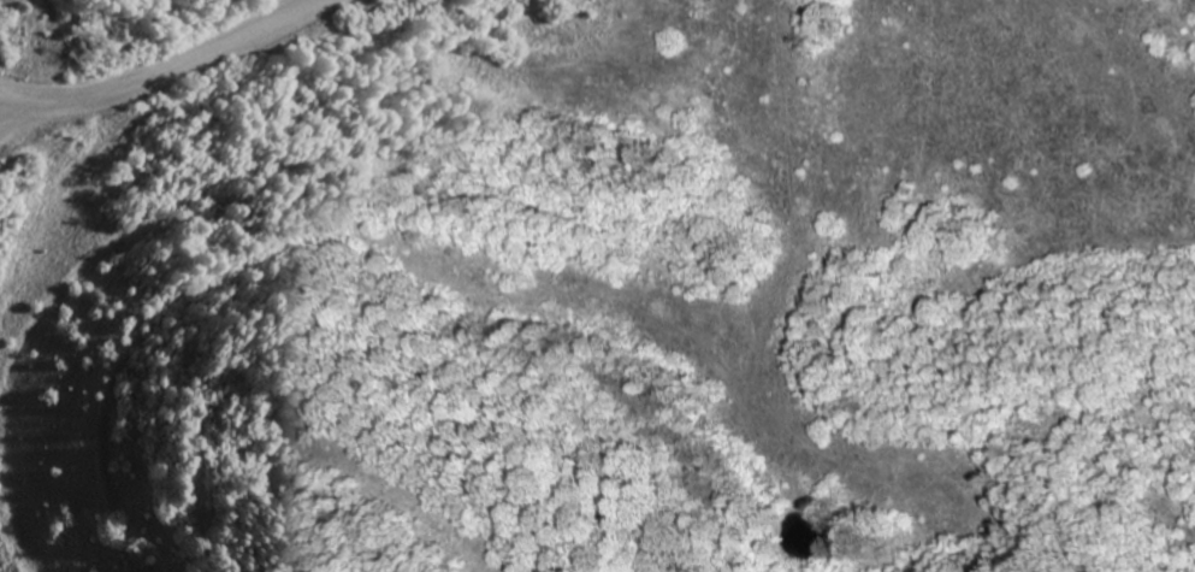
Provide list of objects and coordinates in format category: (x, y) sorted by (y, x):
road: (200, 82)

